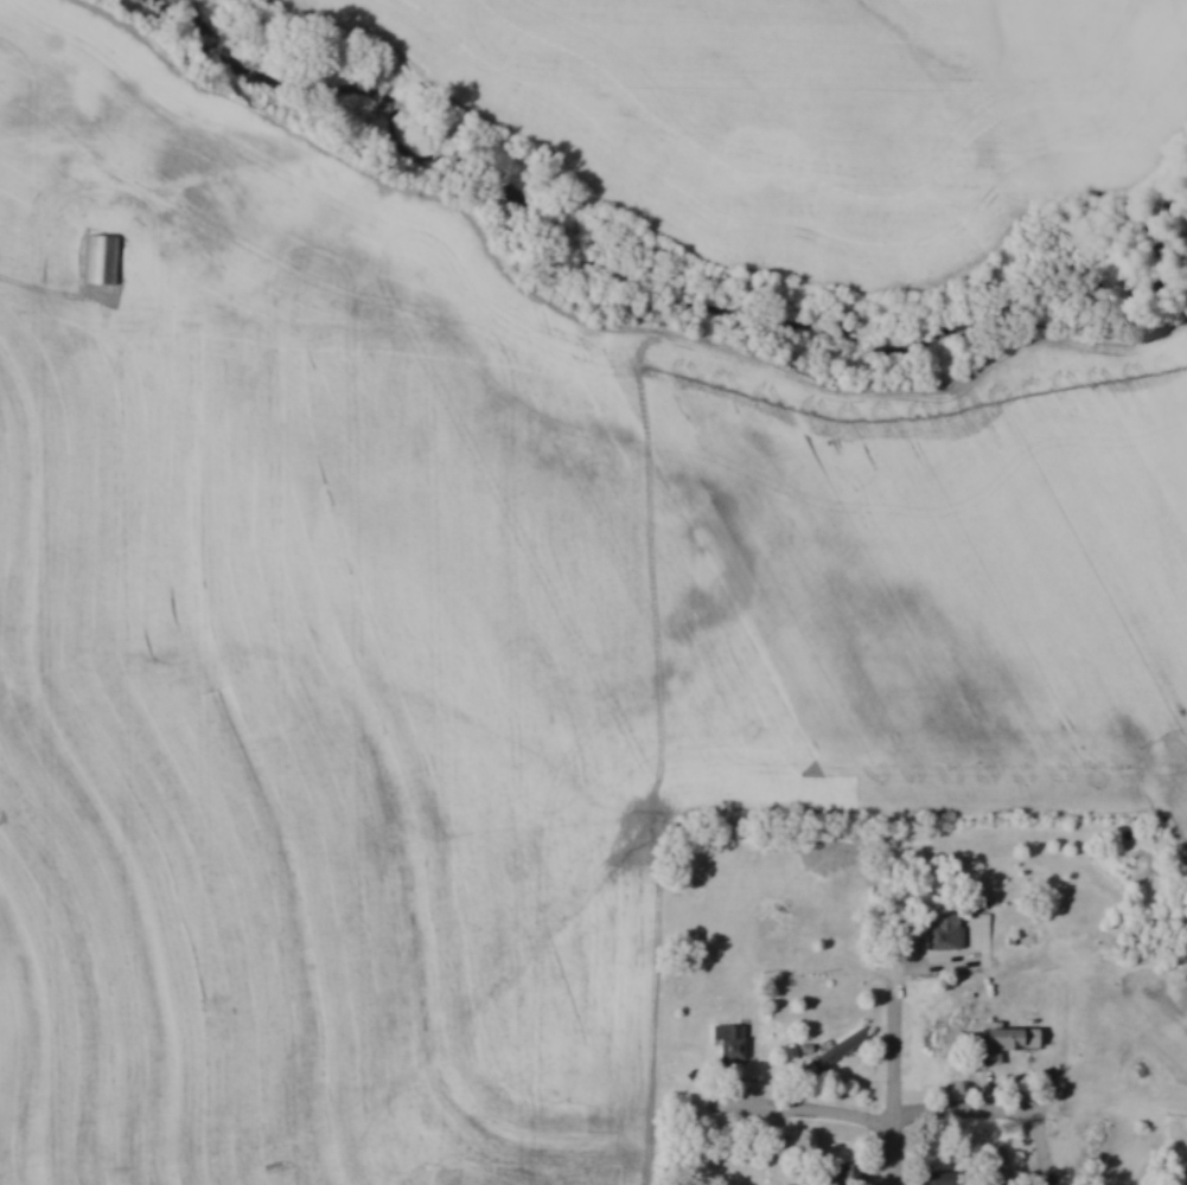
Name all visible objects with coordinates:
building: (103, 261)
building: (937, 933)
building: (1179, 961)
building: (933, 1042)
building: (1001, 1042)
building: (727, 1043)
road: (899, 1081)
road: (915, 1122)
building: (843, 1173)
building: (933, 1177)

